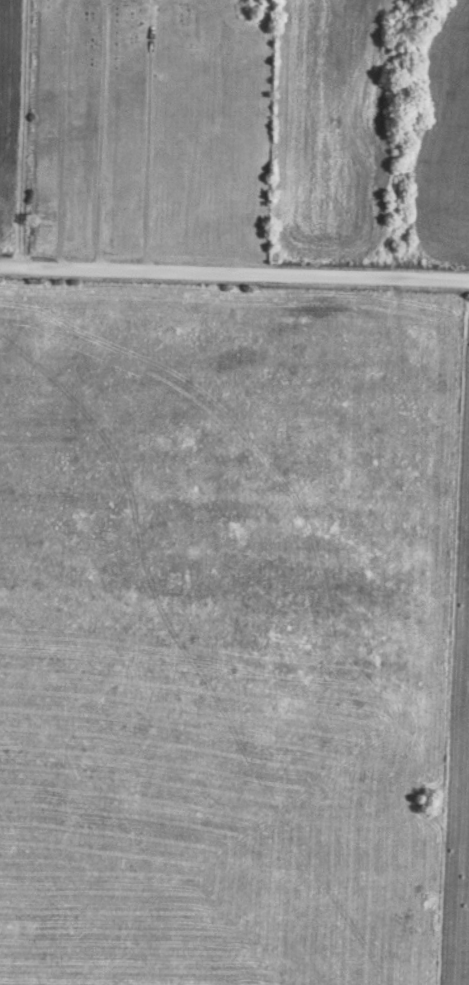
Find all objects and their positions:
park: (148, 129)
road: (100, 139)
road: (234, 275)

